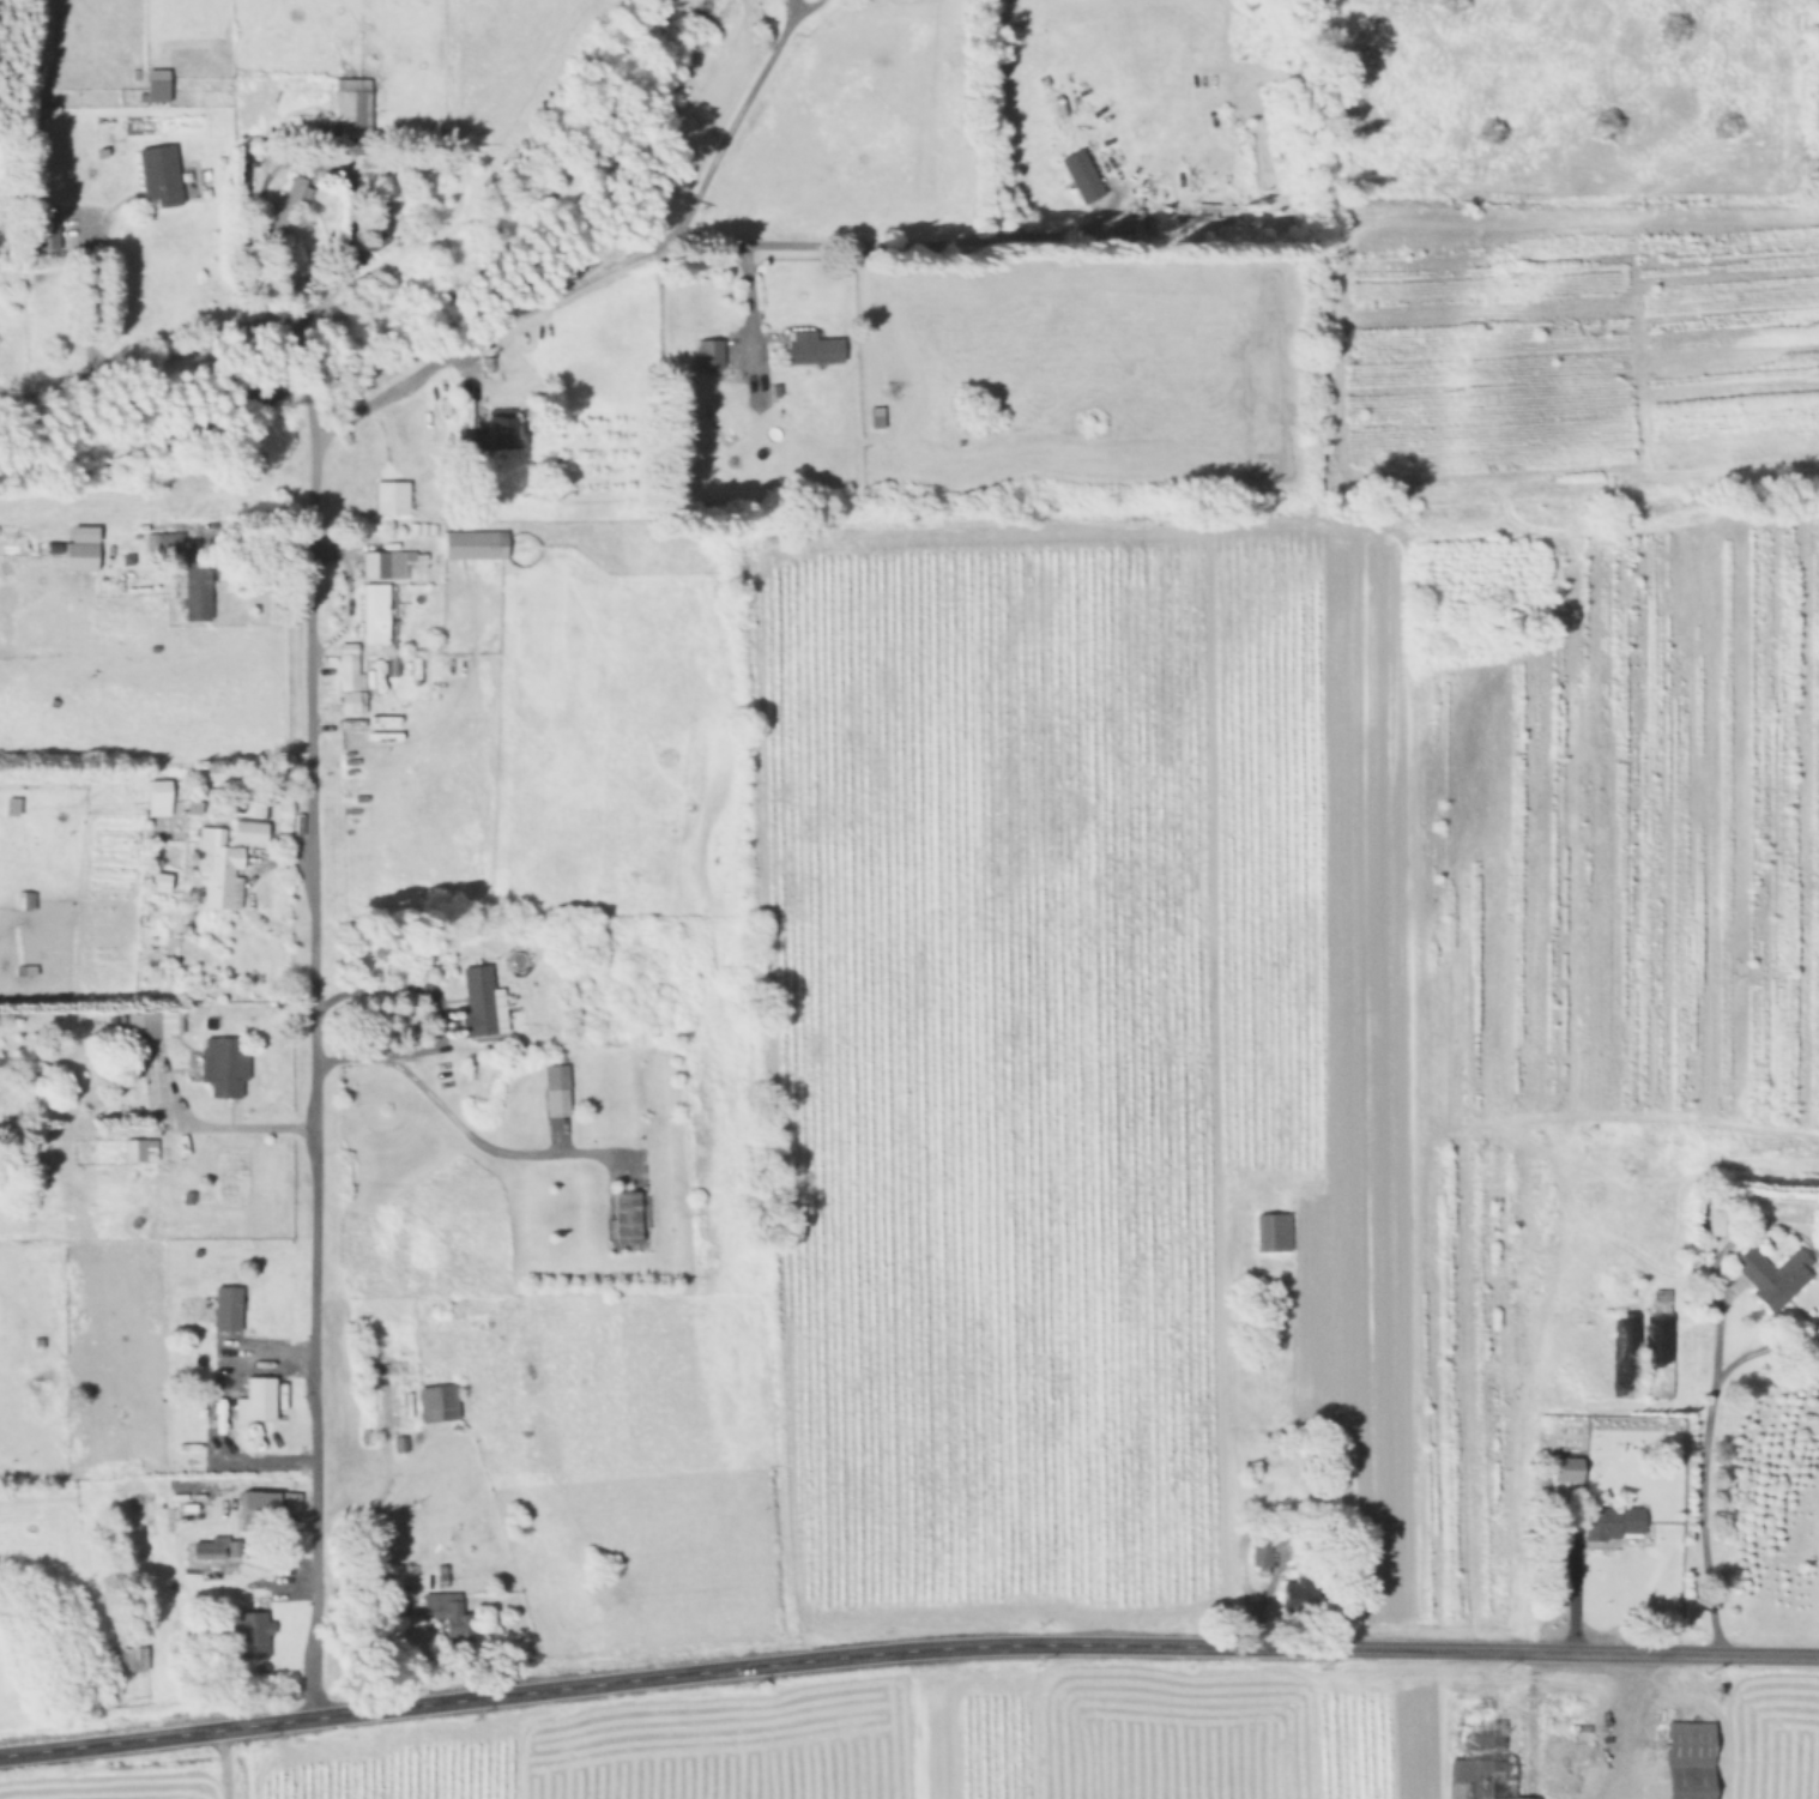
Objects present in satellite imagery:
building: (152, 83)
building: (350, 111)
road: (732, 120)
building: (156, 174)
building: (1078, 176)
building: (288, 207)
building: (42, 227)
building: (376, 245)
road: (667, 246)
road: (87, 300)
road: (748, 302)
building: (809, 348)
building: (705, 354)
road: (149, 364)
building: (483, 436)
building: (387, 497)
building: (165, 543)
building: (471, 543)
building: (75, 556)
building: (385, 563)
building: (192, 590)
building: (371, 612)
building: (346, 680)
building: (155, 798)
building: (223, 862)
crop: (1258, 867)
building: (476, 1004)
road: (313, 1016)
building: (151, 1022)
building: (219, 1065)
building: (554, 1091)
road: (452, 1121)
road: (209, 1123)
building: (132, 1151)
building: (623, 1218)
building: (1716, 1219)
building: (1270, 1232)
building: (1767, 1276)
building: (224, 1308)
building: (1658, 1344)
building: (1626, 1354)
building: (253, 1400)
building: (435, 1403)
road: (1703, 1467)
building: (1565, 1473)
building: (253, 1511)
building: (1609, 1522)
building: (1257, 1552)
building: (1298, 1592)
road: (1581, 1593)
building: (445, 1614)
building: (246, 1634)
road: (906, 1648)
road: (1630, 1728)
crop: (1772, 1739)
crop: (864, 1745)
building: (1498, 1756)
building: (1685, 1759)

